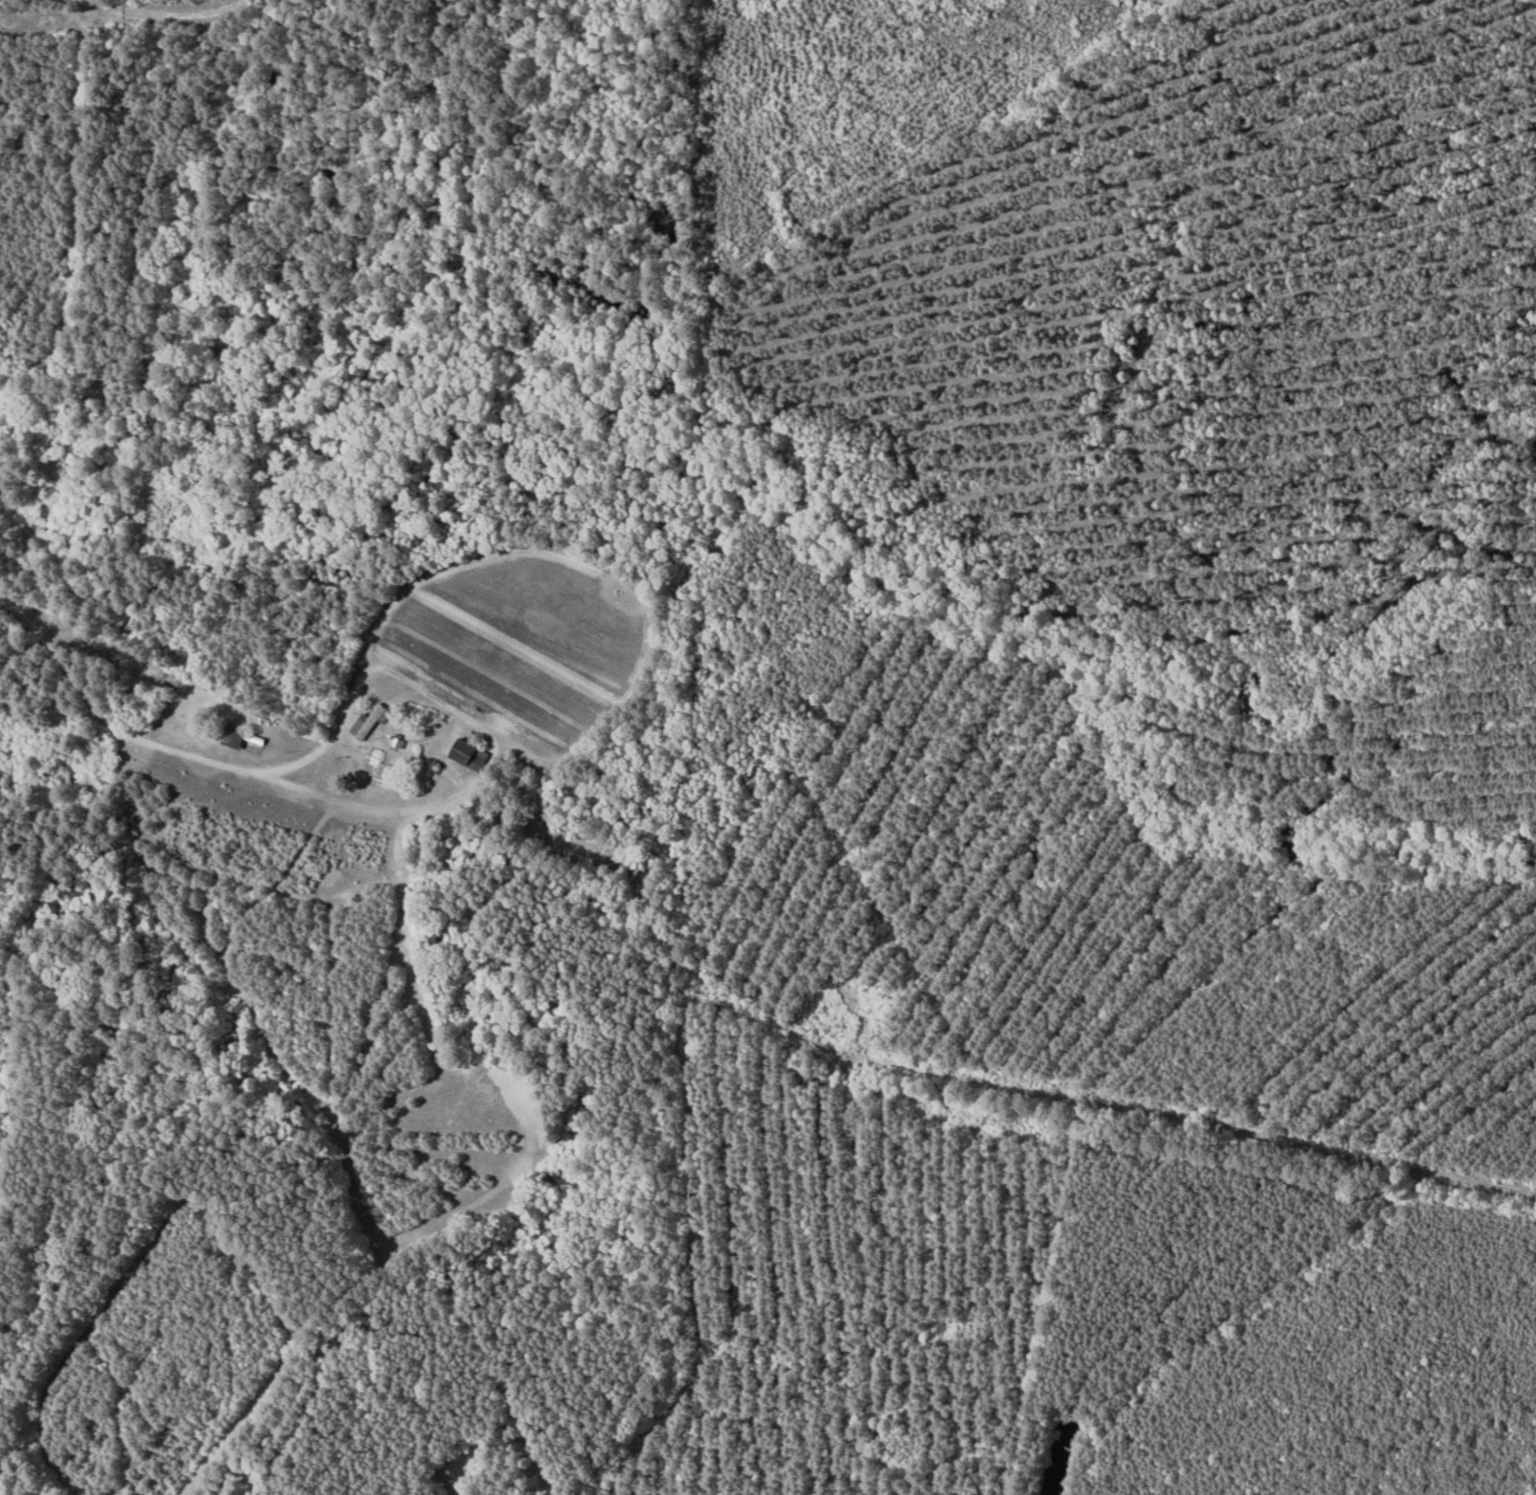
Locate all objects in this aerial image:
road: (166, 15)
road: (650, 625)
road: (97, 710)
building: (366, 722)
building: (228, 737)
building: (463, 755)
building: (375, 761)
road: (1179, 1093)

